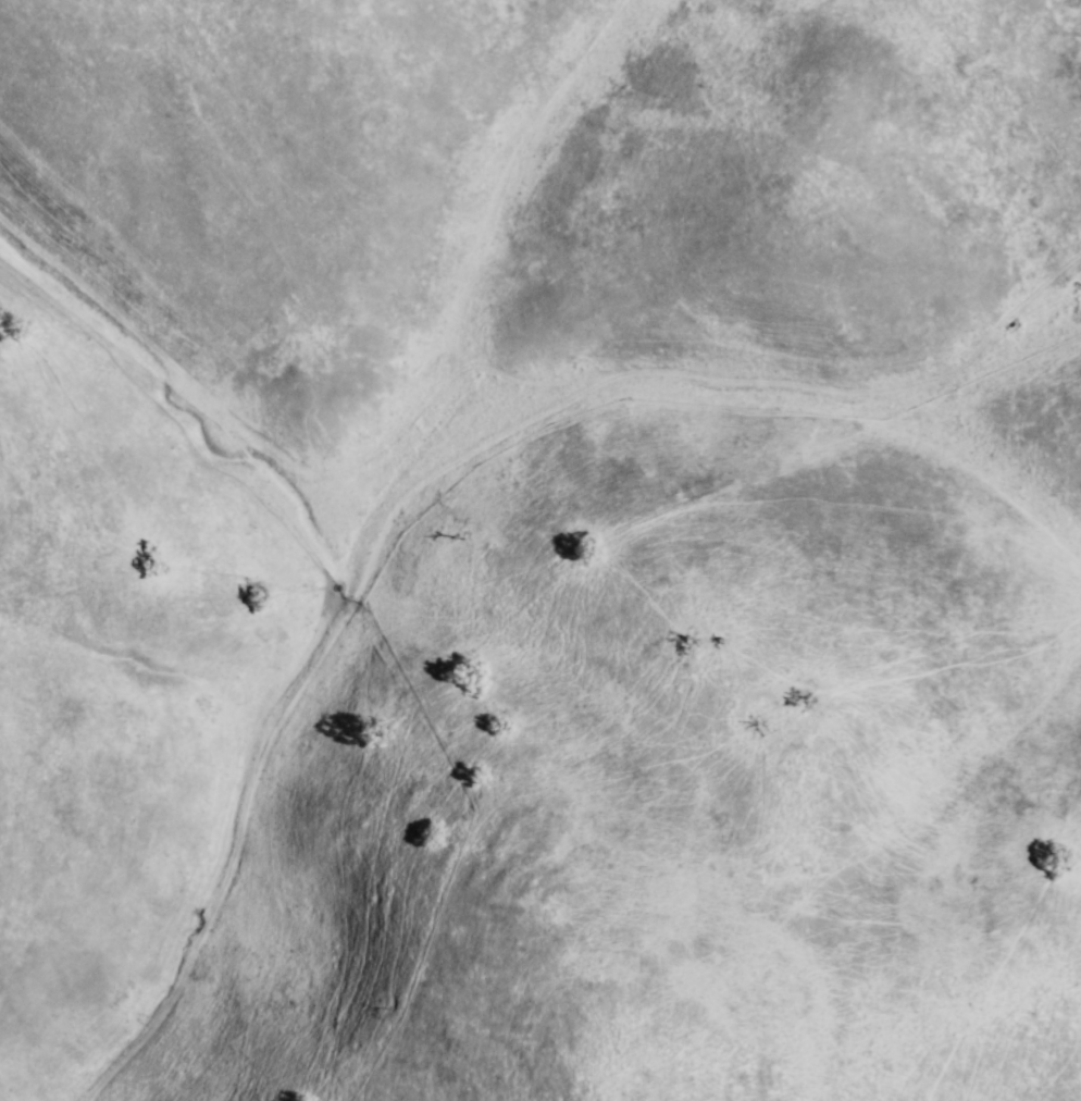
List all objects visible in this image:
road: (186, 387)
road: (425, 484)

